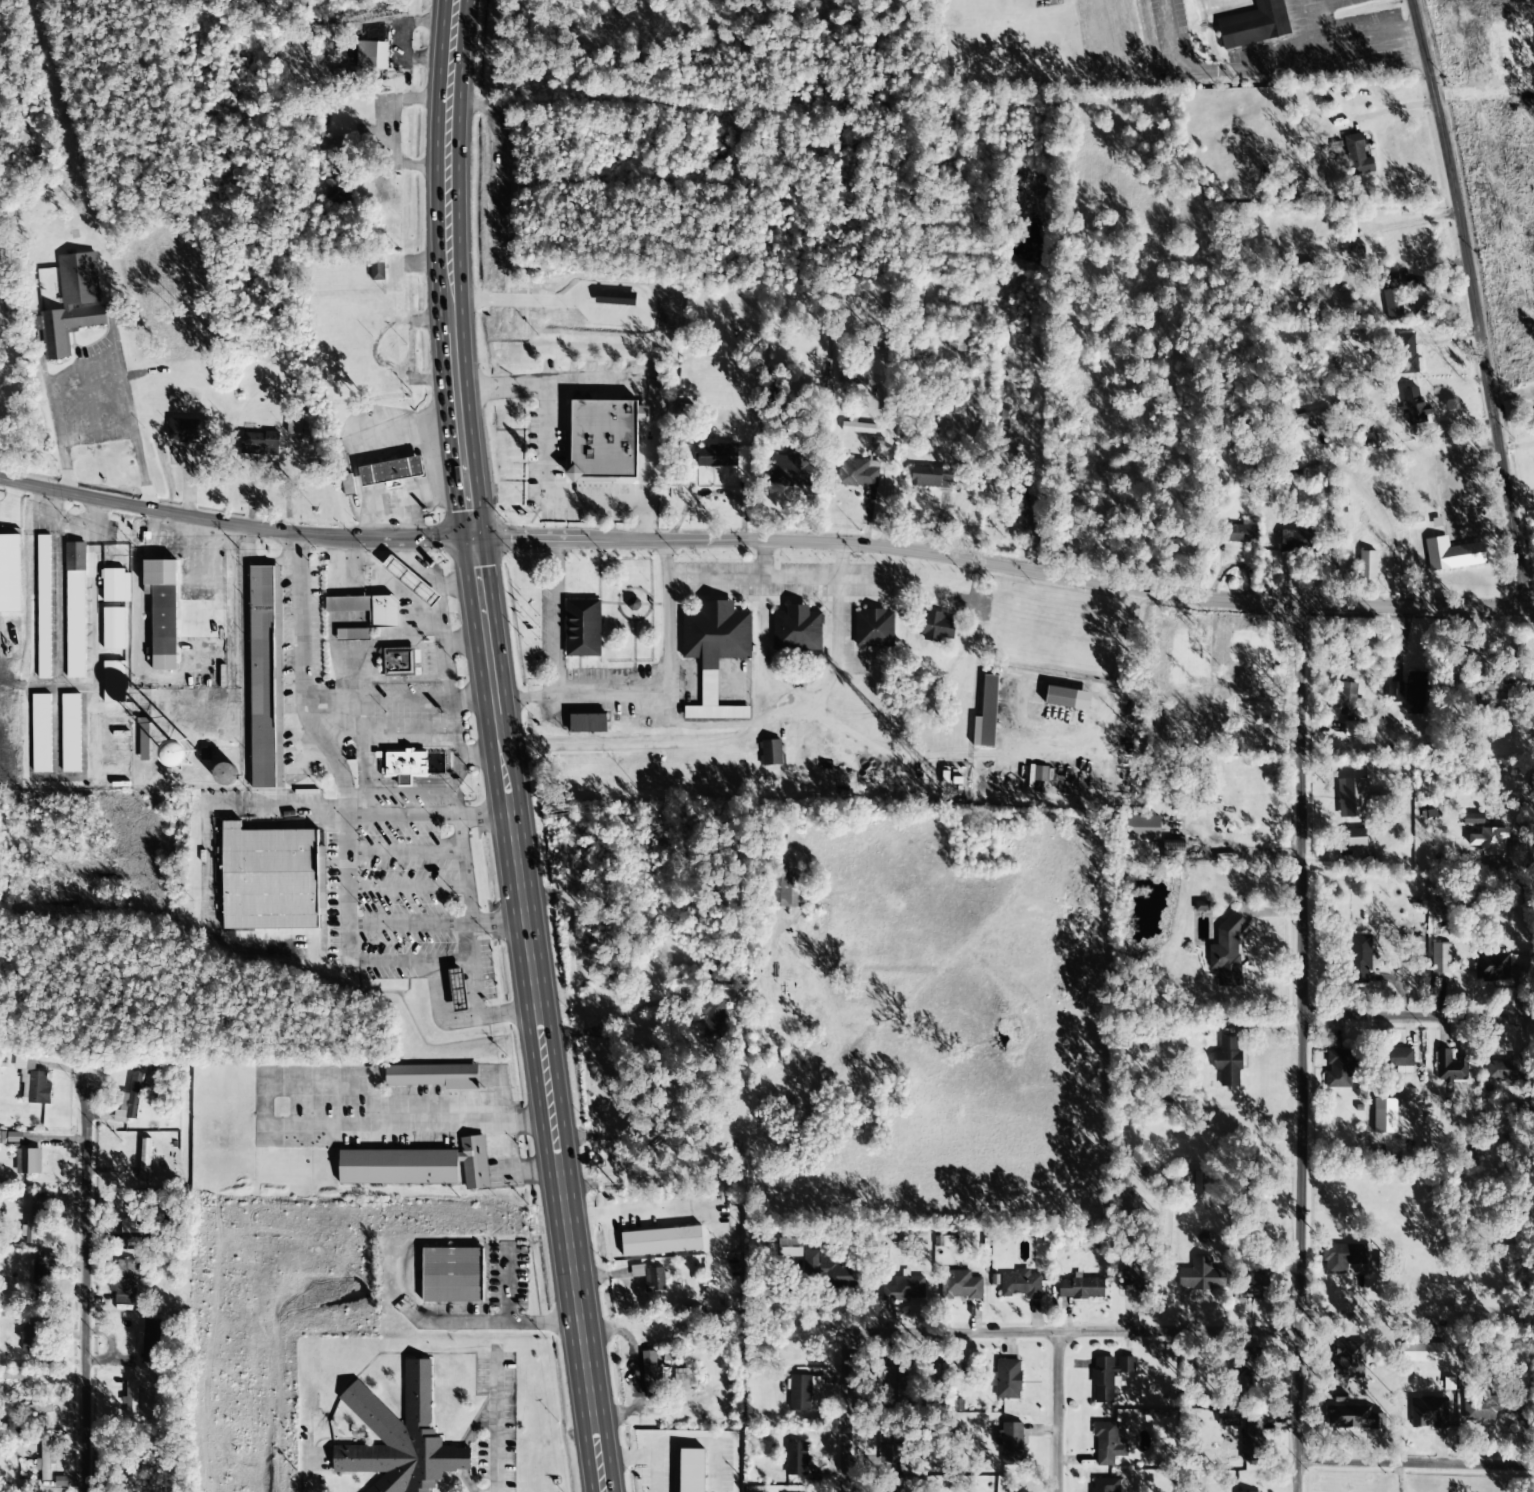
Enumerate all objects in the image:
building: (1254, 24)
road: (1171, 36)
building: (369, 58)
building: (338, 144)
building: (720, 145)
building: (1358, 155)
building: (333, 184)
building: (2, 253)
building: (376, 268)
building: (1392, 296)
building: (614, 298)
road: (1428, 300)
building: (73, 304)
building: (1406, 354)
road: (100, 363)
building: (851, 374)
building: (1413, 406)
building: (1309, 419)
building: (856, 427)
building: (182, 430)
building: (1365, 438)
building: (602, 441)
building: (259, 444)
building: (716, 456)
building: (790, 470)
building: (390, 471)
building: (857, 473)
building: (931, 477)
building: (347, 485)
road: (233, 526)
building: (1242, 532)
traffic signals: (470, 540)
building: (1296, 540)
road: (873, 549)
road: (762, 553)
building: (1452, 554)
road: (843, 555)
building: (1367, 566)
building: (9, 573)
building: (410, 581)
building: (116, 586)
parking lot: (793, 597)
road: (1403, 599)
road: (558, 603)
building: (633, 604)
road: (659, 606)
road: (668, 606)
building: (43, 607)
road: (609, 607)
building: (367, 608)
building: (75, 610)
road: (647, 613)
building: (163, 626)
building: (582, 627)
building: (936, 627)
building: (874, 628)
building: (113, 629)
building: (797, 632)
building: (352, 634)
building: (716, 635)
road: (636, 645)
building: (398, 662)
building: (265, 677)
building: (113, 682)
building: (1394, 692)
building: (1414, 693)
building: (1492, 693)
parking lot: (653, 694)
building: (1060, 697)
road: (516, 701)
building: (1347, 701)
building: (986, 715)
building: (586, 723)
building: (1351, 729)
building: (41, 733)
building: (71, 733)
building: (143, 740)
road: (499, 747)
building: (771, 753)
building: (179, 754)
building: (403, 766)
building: (224, 774)
building: (1042, 774)
building: (1352, 798)
building: (1473, 819)
building: (1141, 828)
building: (1355, 837)
building: (1489, 840)
building: (1172, 847)
building: (268, 879)
building: (784, 890)
building: (1201, 906)
building: (1226, 953)
building: (1360, 958)
building: (1440, 958)
building: (1491, 967)
building: (457, 991)
gas station: (457, 991)
road: (1403, 1007)
building: (711, 1020)
road: (1276, 1046)
building: (1400, 1060)
building: (1227, 1062)
building: (1449, 1067)
building: (1338, 1069)
building: (1505, 1069)
building: (433, 1076)
building: (32, 1082)
building: (129, 1100)
building: (28, 1161)
building: (144, 1161)
building: (416, 1166)
building: (1193, 1182)
road: (652, 1211)
building: (34, 1217)
building: (131, 1231)
building: (661, 1241)
building: (1342, 1257)
building: (819, 1265)
building: (451, 1275)
building: (1201, 1275)
building: (41, 1277)
building: (649, 1277)
building: (1134, 1280)
building: (124, 1281)
building: (1021, 1284)
building: (960, 1285)
road: (83, 1287)
building: (1254, 1287)
building: (1080, 1288)
building: (905, 1289)
road: (1059, 1334)
building: (29, 1337)
building: (150, 1341)
building: (1422, 1352)
building: (1348, 1360)
building: (650, 1372)
building: (1250, 1372)
building: (940, 1373)
building: (18, 1374)
building: (1108, 1376)
building: (684, 1378)
building: (1006, 1379)
building: (894, 1383)
building: (800, 1393)
building: (132, 1398)
building: (1487, 1407)
building: (1428, 1412)
building: (27, 1413)
road: (1057, 1413)
road: (841, 1416)
building: (1229, 1418)
building: (1352, 1418)
building: (399, 1438)
building: (1010, 1442)
building: (1251, 1442)
building: (1108, 1444)
building: (891, 1448)
road: (1403, 1455)
building: (44, 1458)
building: (796, 1458)
building: (689, 1471)
building: (1105, 1485)
building: (891, 1491)

